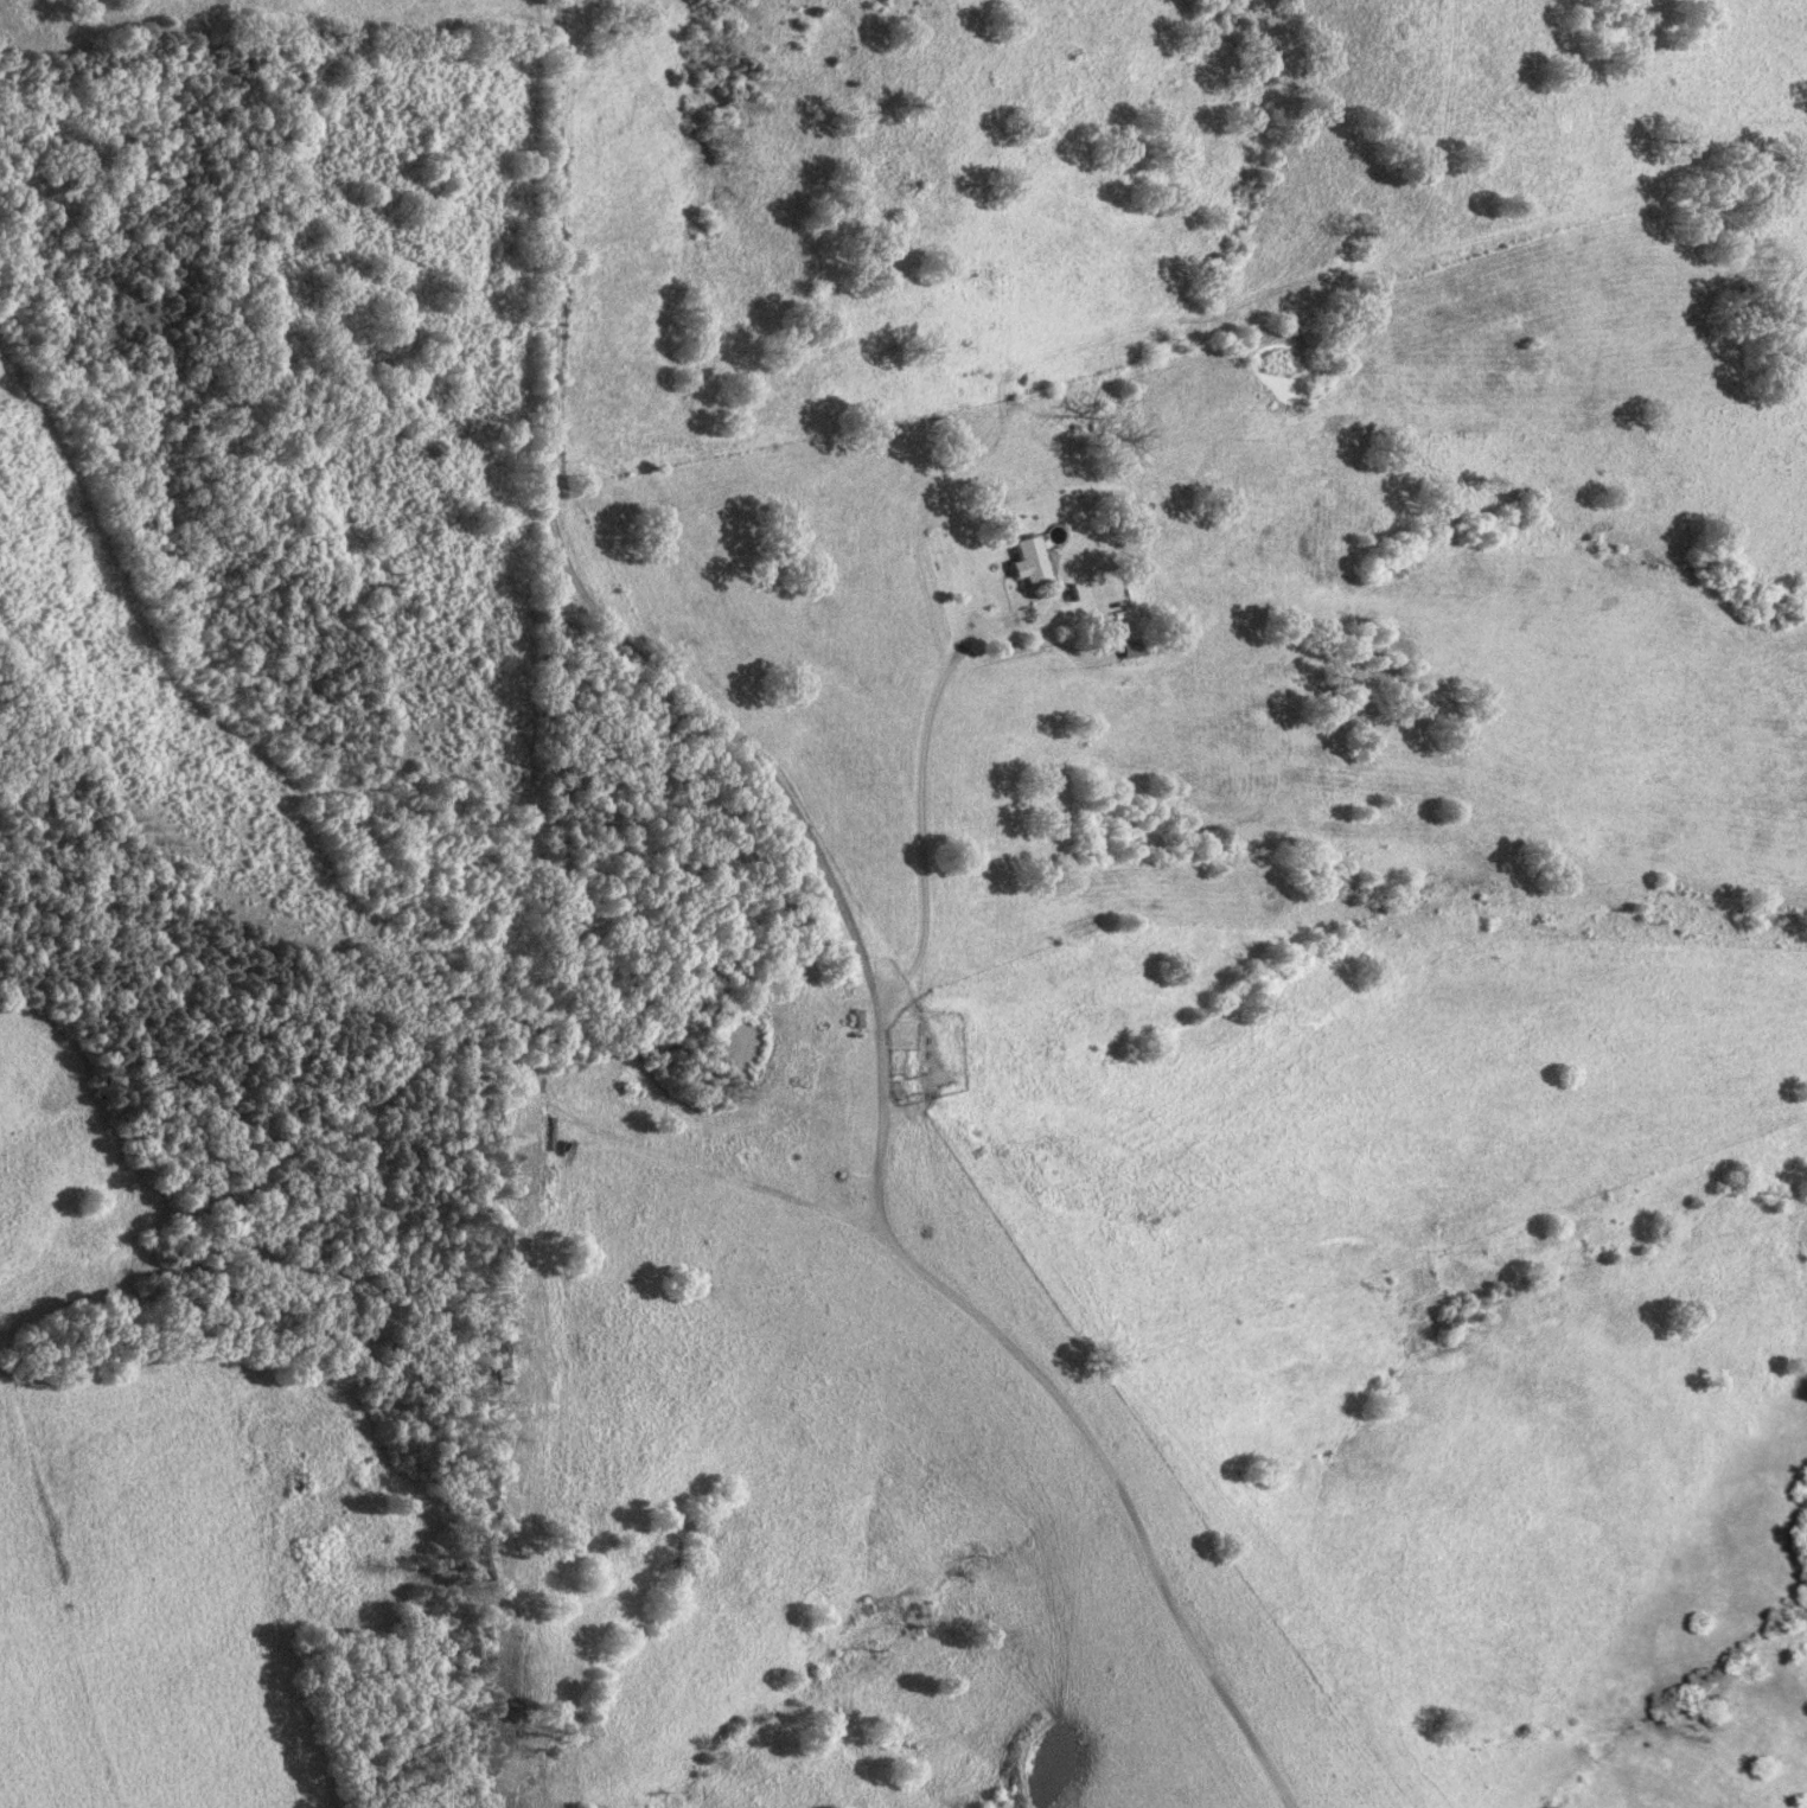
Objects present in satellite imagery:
building: (1023, 560)
road: (921, 784)
road: (844, 922)
road: (384, 1103)

